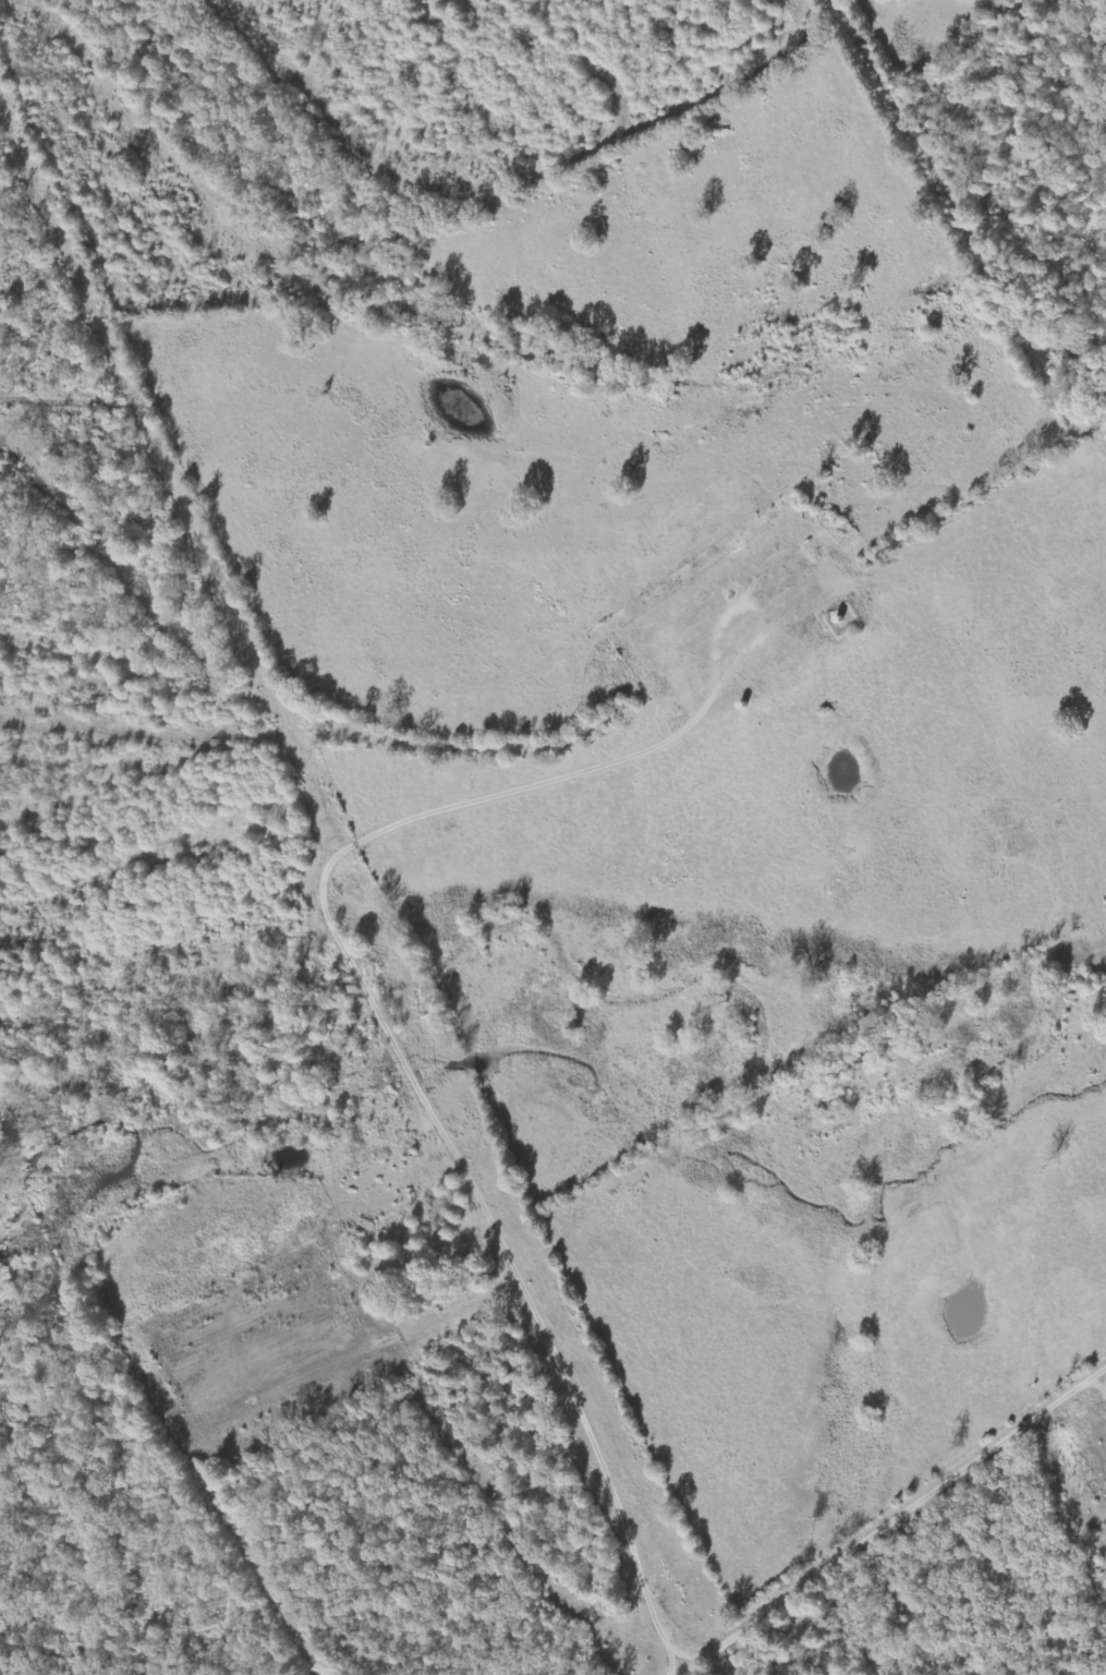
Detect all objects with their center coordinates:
road: (1, 3)
road: (382, 848)
road: (181, 1377)
road: (933, 1555)

